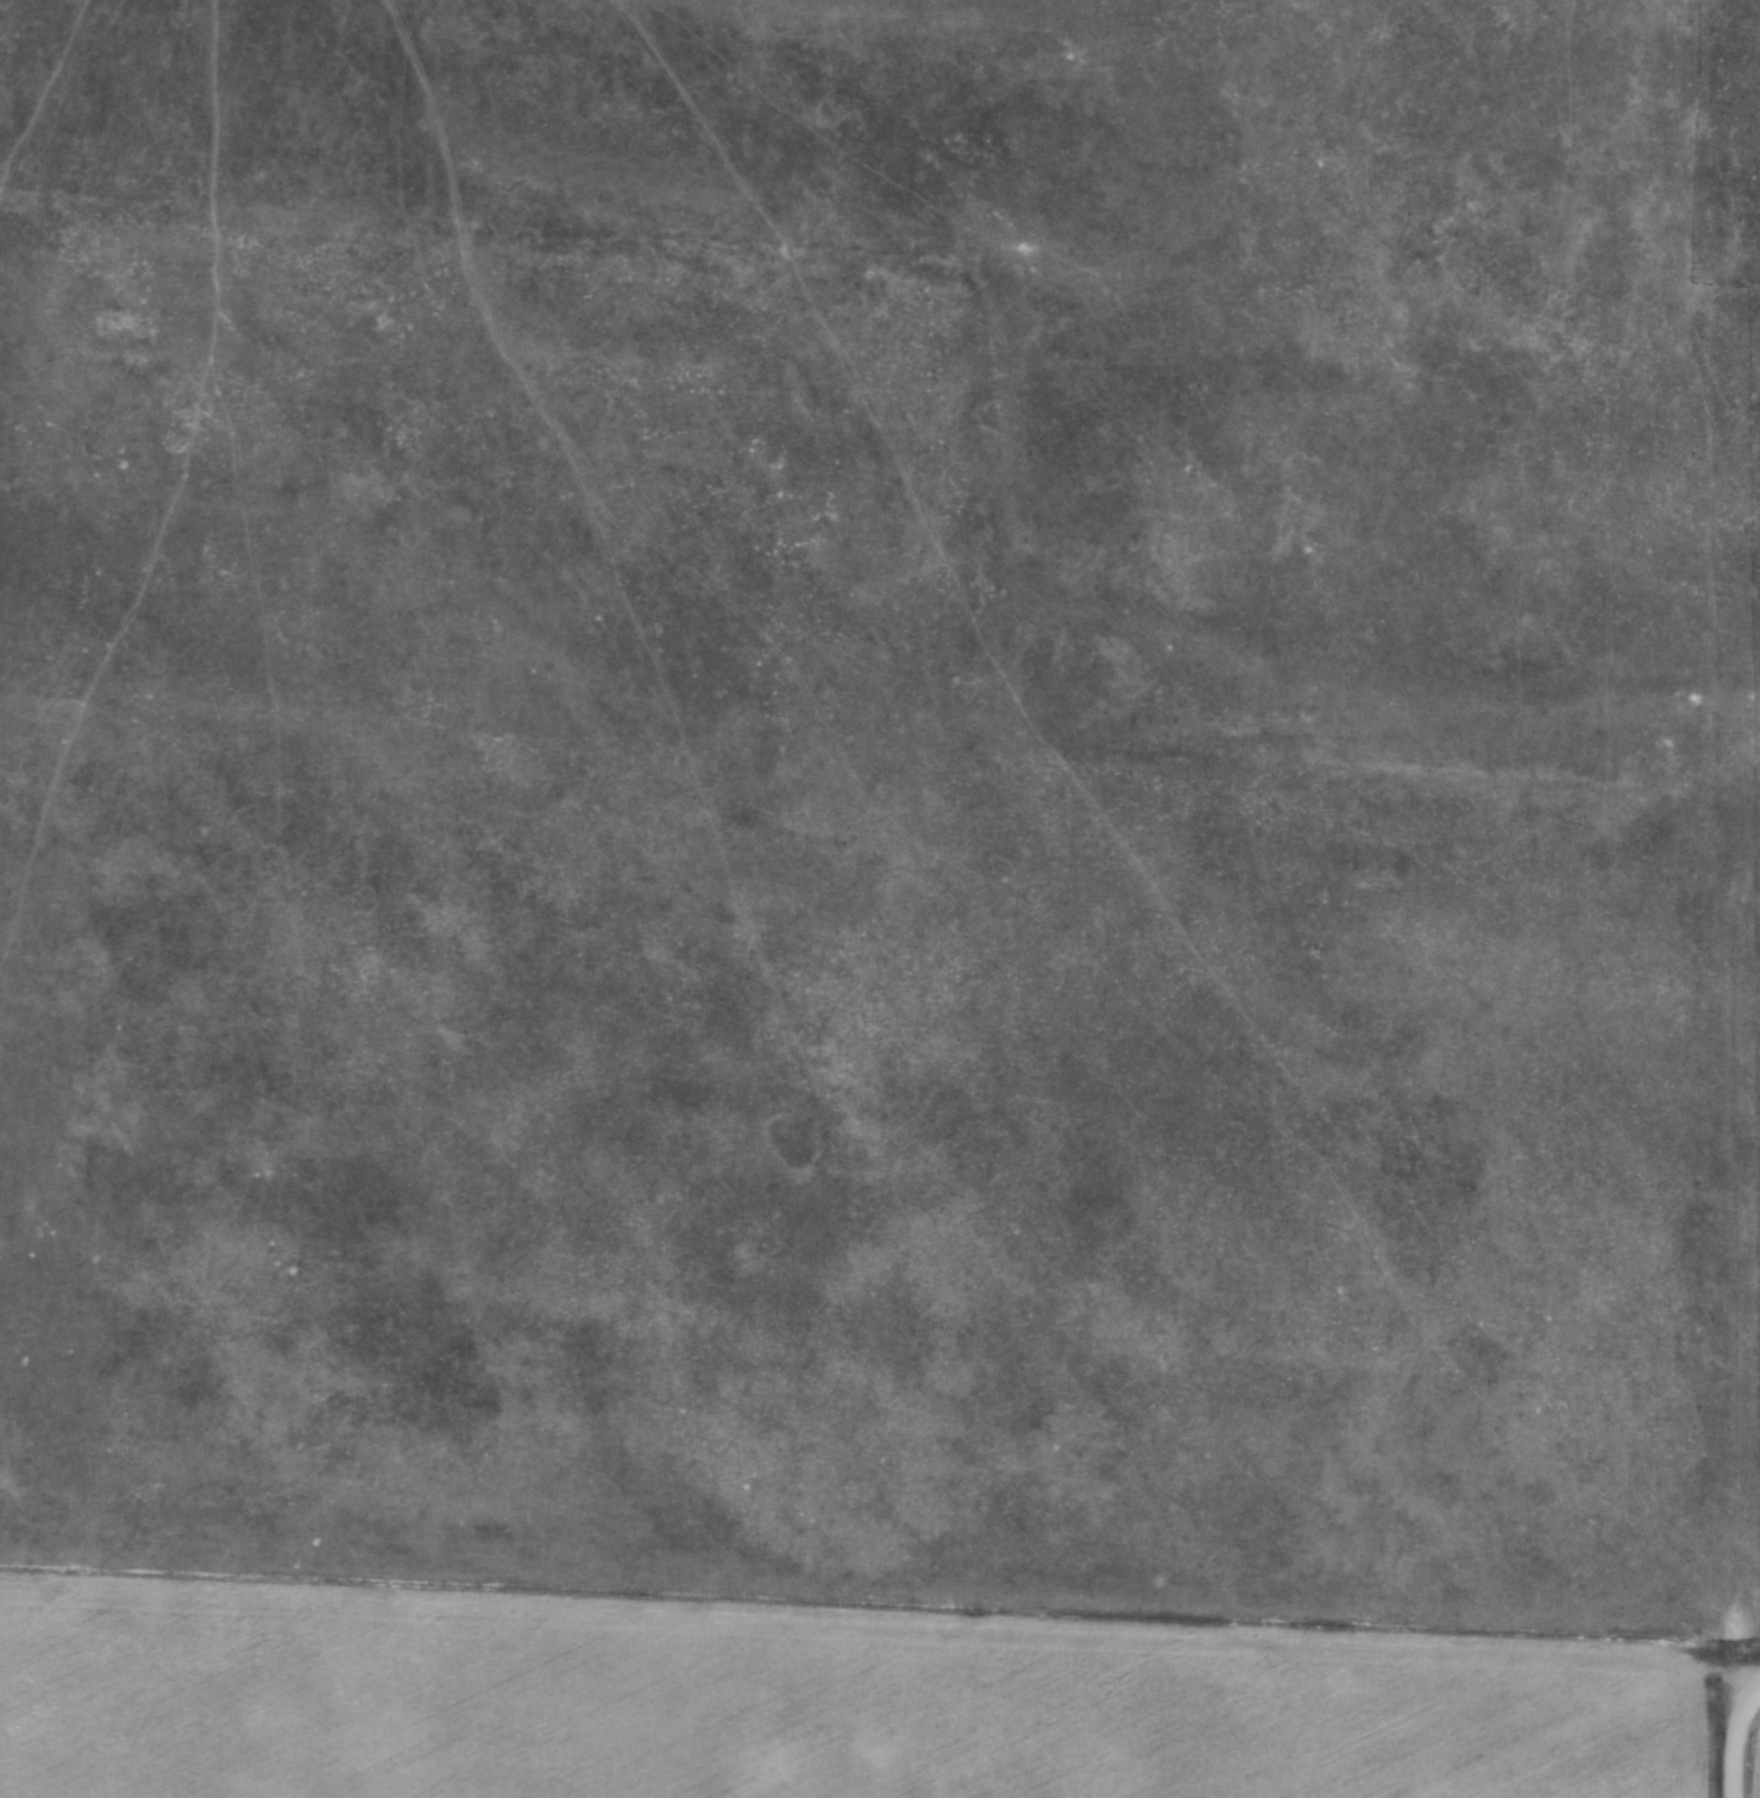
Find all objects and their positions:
road: (1758, 1683)
crop: (799, 1699)
road: (1735, 1739)

